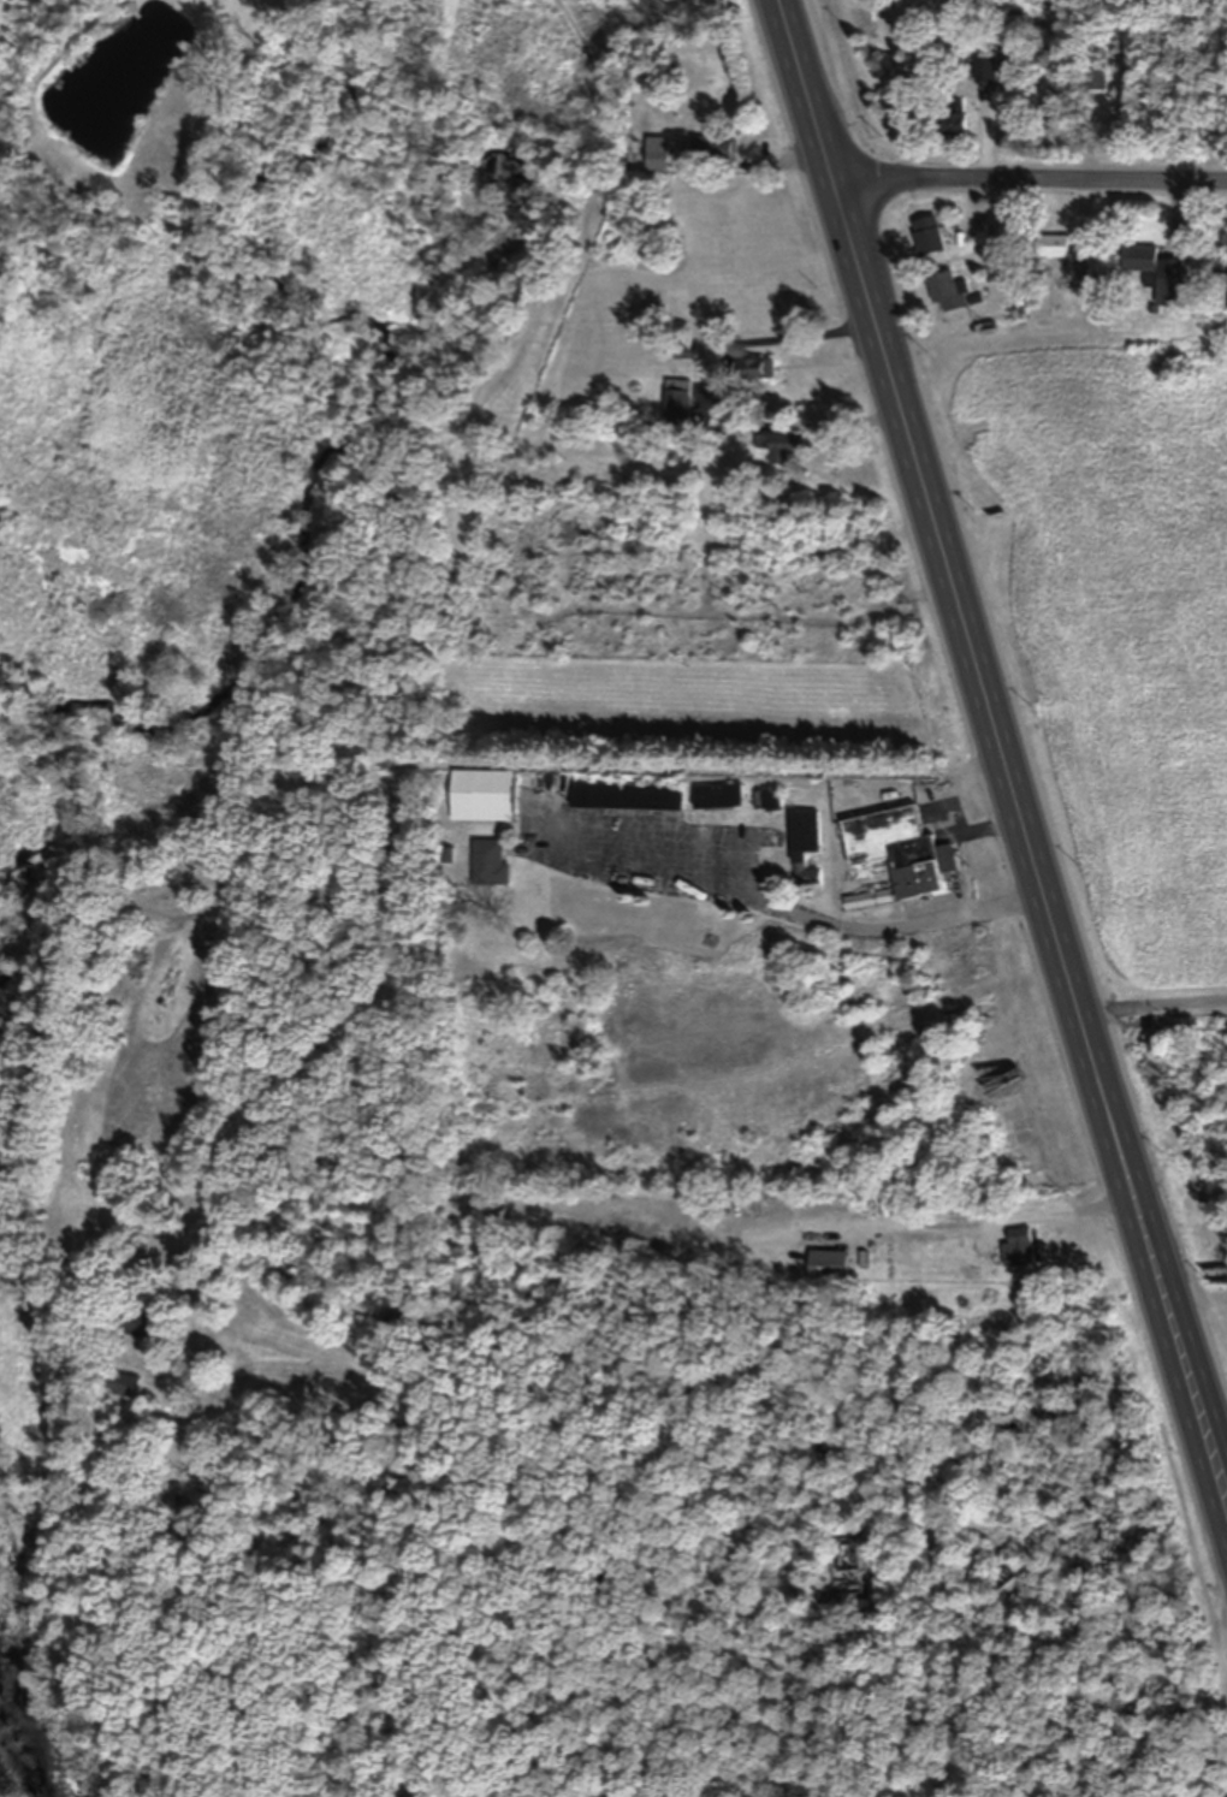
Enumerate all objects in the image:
building: (985, 70)
road: (807, 94)
building: (955, 124)
building: (713, 150)
building: (658, 152)
road: (1031, 191)
building: (929, 236)
building: (1056, 245)
building: (1156, 272)
building: (949, 292)
road: (807, 336)
building: (758, 368)
building: (678, 402)
building: (781, 447)
building: (484, 795)
building: (718, 795)
building: (628, 796)
building: (767, 797)
road: (1032, 846)
building: (805, 847)
building: (901, 850)
building: (491, 861)
building: (883, 896)
building: (860, 900)
road: (894, 926)
road: (1154, 1009)
road: (1044, 1212)
building: (1019, 1247)
building: (829, 1264)
building: (142, 1324)
building: (128, 1386)
road: (1226, 1626)
building: (1126, 1734)

